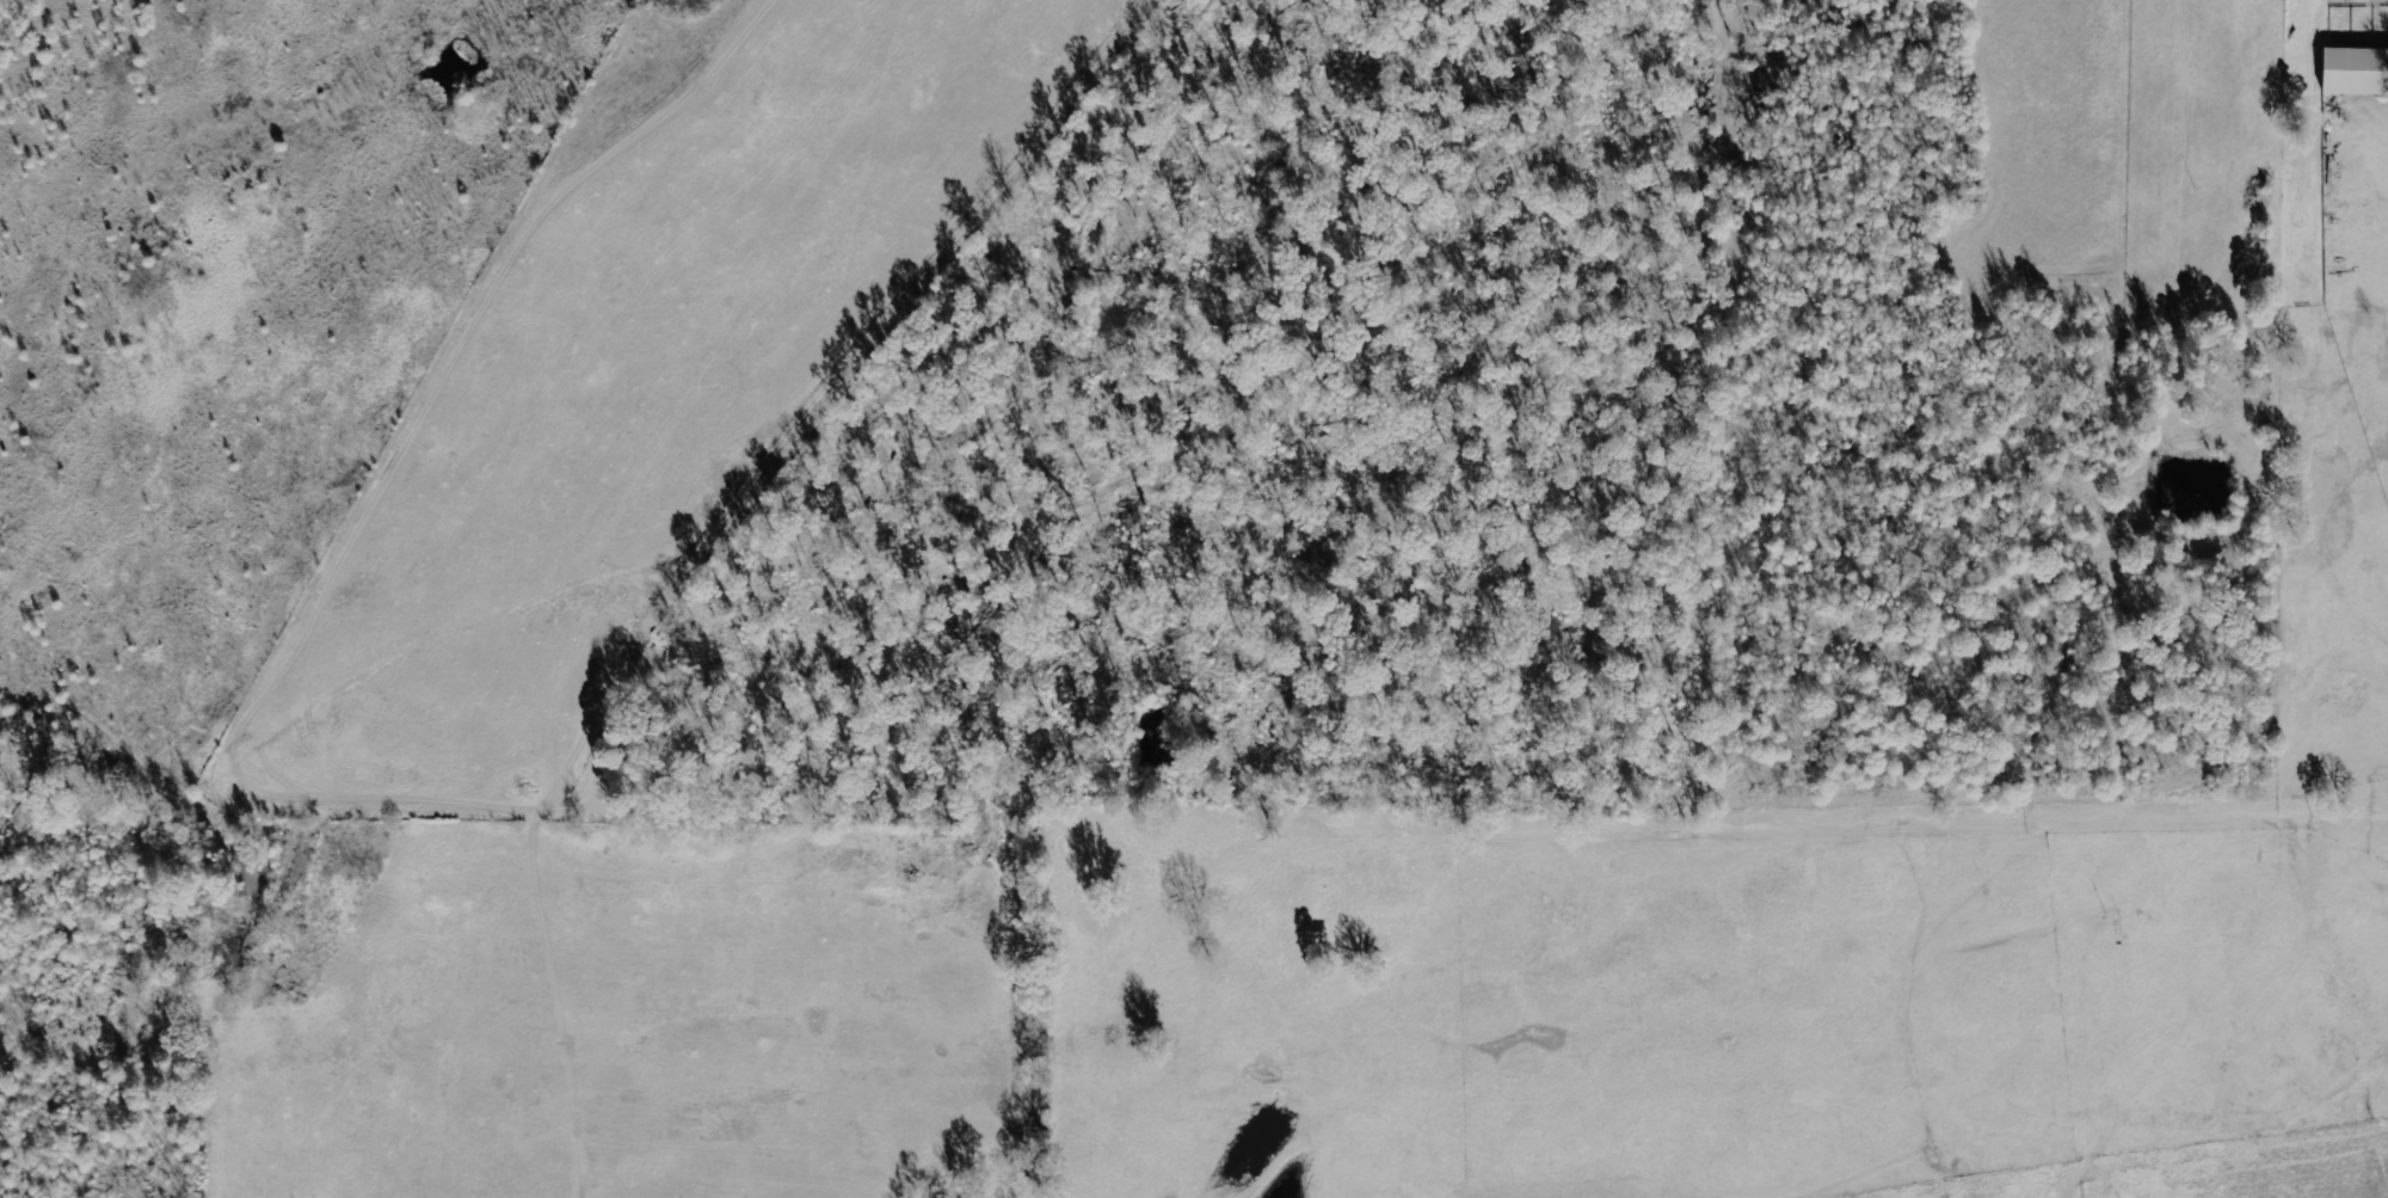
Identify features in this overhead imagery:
building: (2355, 70)

